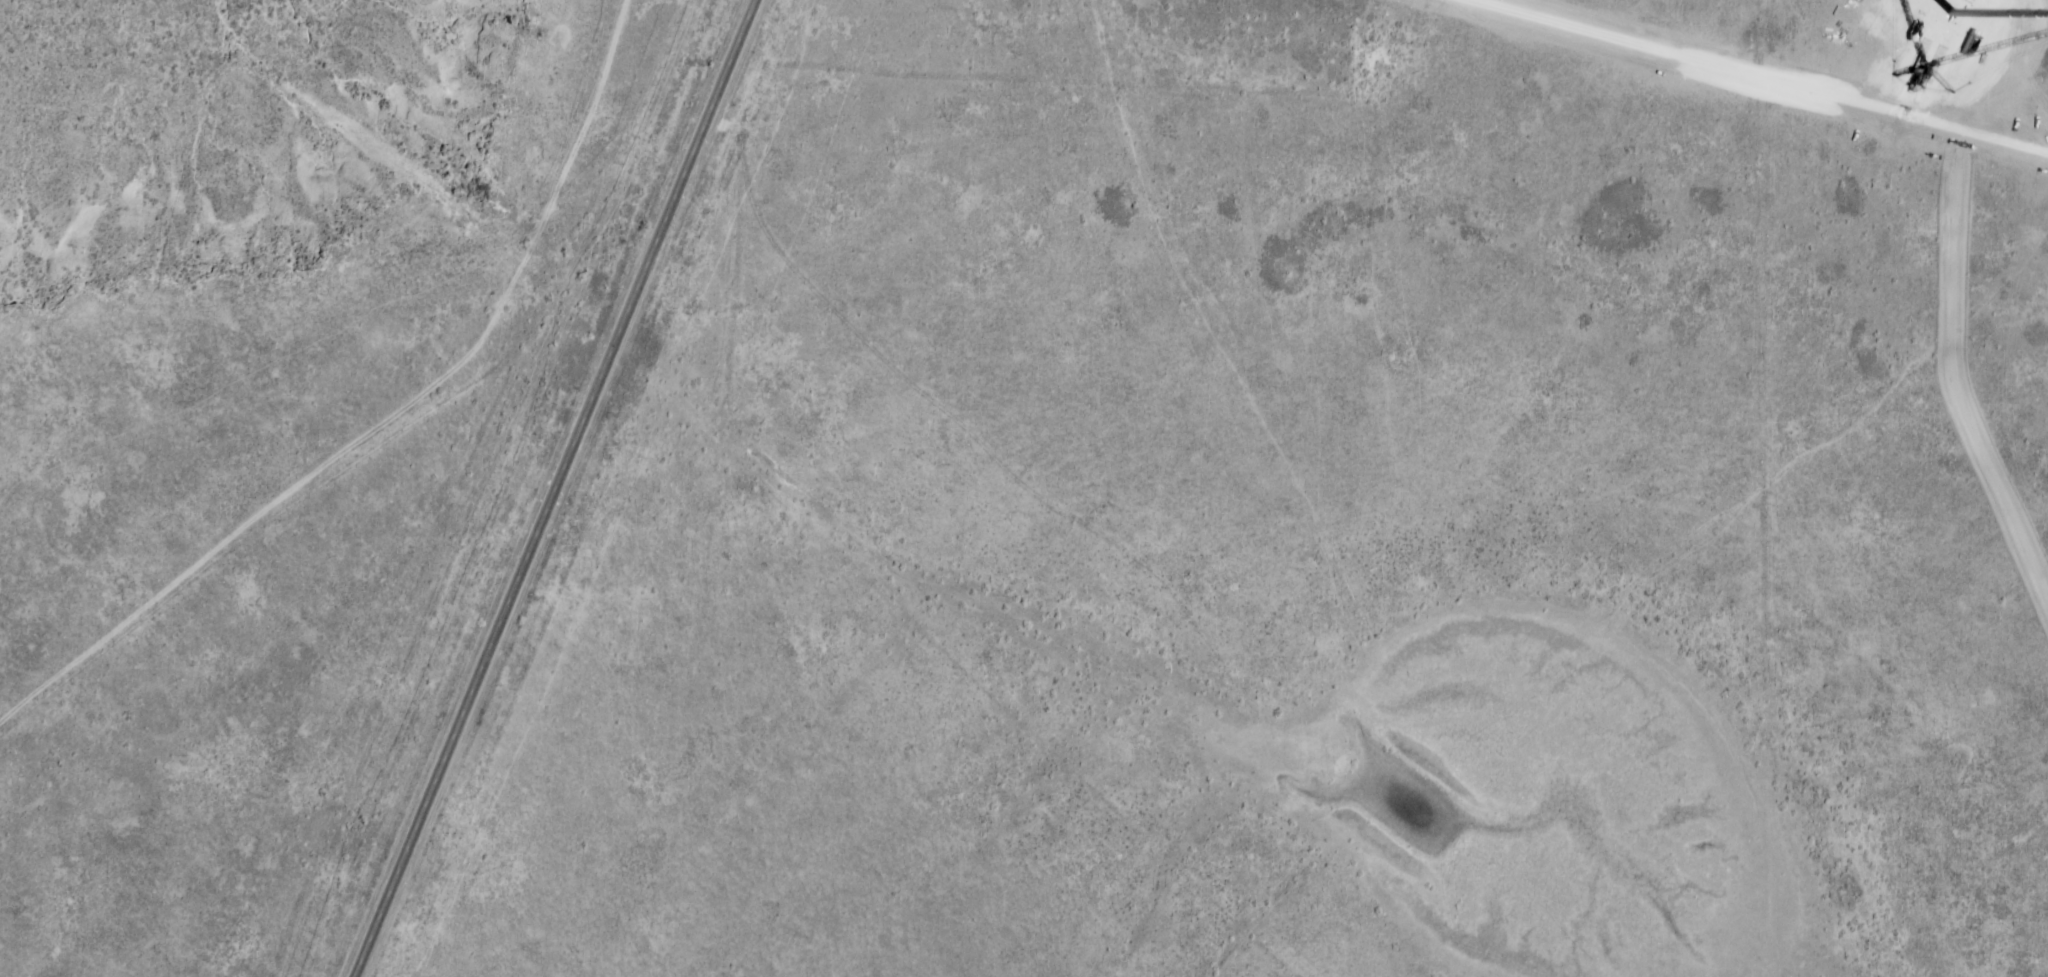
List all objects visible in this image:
wind turbine: (1923, 10)
road: (381, 381)
road: (556, 488)

